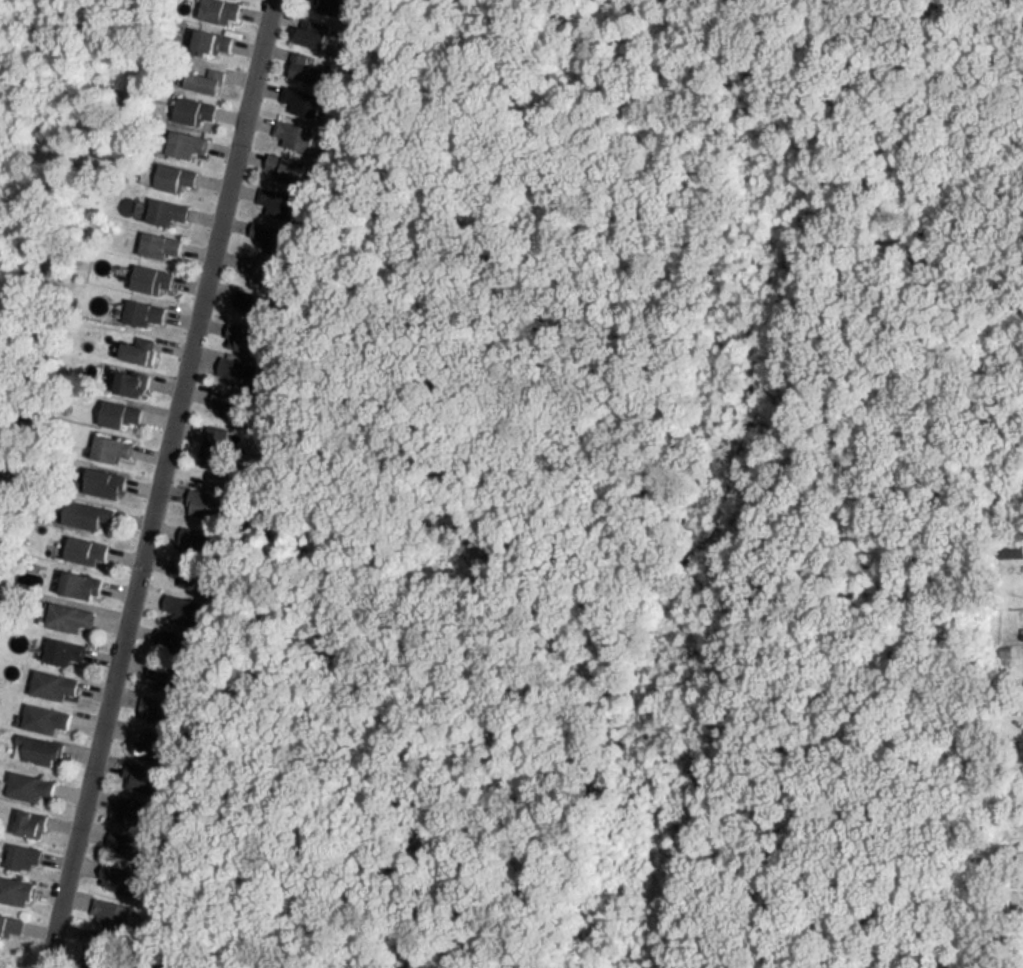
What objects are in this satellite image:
building: (326, 3)
building: (216, 8)
building: (308, 27)
building: (208, 36)
building: (302, 62)
building: (201, 74)
building: (298, 94)
building: (189, 104)
building: (289, 128)
building: (182, 138)
building: (281, 161)
building: (172, 171)
building: (274, 195)
building: (164, 206)
building: (265, 228)
building: (157, 239)
building: (256, 263)
building: (147, 272)
building: (73, 282)
building: (245, 295)
building: (141, 307)
building: (239, 333)
building: (133, 344)
building: (233, 364)
building: (127, 378)
building: (221, 397)
building: (116, 408)
building: (212, 438)
building: (106, 443)
building: (98, 476)
road: (158, 484)
building: (202, 497)
building: (83, 508)
building: (192, 532)
building: (82, 543)
building: (186, 568)
building: (79, 578)
building: (178, 603)
building: (65, 611)
building: (62, 645)
building: (165, 653)
building: (51, 680)
building: (152, 702)
building: (41, 713)
building: (146, 738)
building: (34, 744)
building: (138, 772)
building: (26, 781)
building: (128, 806)
building: (27, 816)
building: (120, 839)
building: (20, 851)
building: (115, 872)
building: (13, 885)
building: (107, 904)
building: (9, 921)

